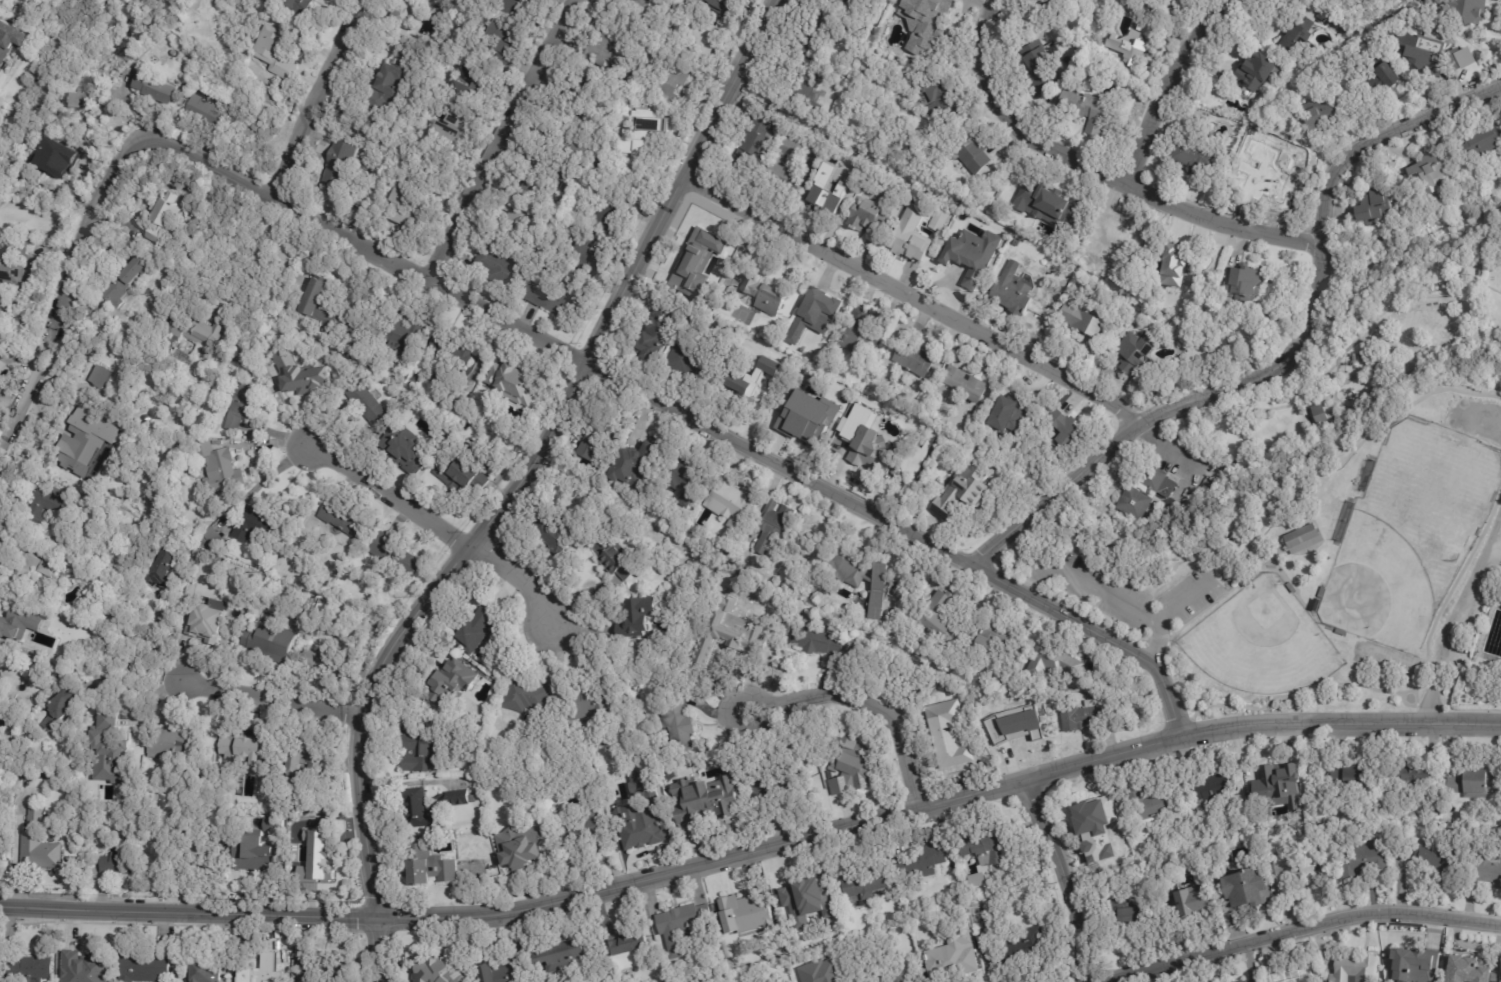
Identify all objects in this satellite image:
building: (1173, 0)
building: (850, 1)
building: (1175, 1)
building: (835, 5)
building: (300, 6)
building: (629, 6)
building: (723, 6)
building: (515, 7)
building: (1466, 11)
building: (405, 14)
building: (924, 24)
building: (866, 30)
building: (810, 35)
building: (704, 37)
building: (1297, 37)
building: (1489, 38)
building: (506, 43)
road: (751, 43)
building: (11, 44)
building: (609, 49)
building: (1127, 49)
building: (1418, 52)
building: (276, 53)
building: (128, 58)
road: (329, 65)
building: (1035, 67)
building: (1256, 71)
road: (1164, 81)
building: (389, 82)
building: (1375, 83)
building: (673, 84)
building: (586, 86)
building: (157, 90)
building: (475, 90)
building: (942, 94)
building: (804, 96)
building: (83, 104)
building: (1082, 109)
building: (209, 112)
building: (1319, 116)
building: (655, 126)
building: (461, 134)
building: (641, 134)
building: (573, 138)
building: (754, 138)
road: (503, 140)
building: (1478, 142)
building: (968, 154)
building: (1191, 157)
building: (57, 159)
road: (294, 165)
road: (1101, 167)
building: (343, 168)
building: (782, 168)
building: (1427, 171)
road: (229, 172)
building: (549, 175)
building: (1258, 180)
building: (826, 192)
building: (1048, 202)
building: (587, 203)
building: (1372, 206)
building: (419, 213)
building: (871, 215)
building: (615, 217)
building: (167, 218)
building: (938, 219)
building: (520, 220)
road: (655, 223)
building: (1116, 231)
building: (911, 236)
building: (1014, 243)
building: (18, 248)
building: (695, 249)
road: (257, 254)
building: (586, 255)
building: (959, 259)
building: (1175, 262)
building: (1476, 266)
building: (505, 271)
road: (66, 273)
building: (10, 274)
building: (1449, 279)
building: (1245, 280)
building: (127, 282)
road: (448, 289)
building: (1011, 292)
building: (762, 295)
road: (913, 297)
building: (559, 300)
building: (328, 309)
building: (820, 311)
building: (1082, 317)
building: (199, 332)
building: (657, 332)
building: (861, 333)
building: (406, 334)
building: (240, 351)
building: (456, 351)
building: (688, 353)
building: (1132, 356)
road: (1289, 356)
building: (248, 360)
building: (913, 360)
building: (762, 372)
building: (735, 374)
building: (303, 375)
building: (1, 377)
building: (100, 377)
building: (515, 384)
building: (964, 384)
building: (94, 389)
building: (369, 403)
building: (243, 406)
road: (557, 407)
building: (975, 413)
building: (1321, 414)
building: (1007, 416)
building: (802, 420)
road: (1485, 420)
building: (1189, 426)
building: (82, 431)
building: (1063, 432)
building: (589, 433)
building: (864, 448)
building: (409, 449)
building: (221, 468)
building: (631, 468)
building: (468, 476)
building: (680, 478)
building: (958, 492)
building: (1149, 492)
road: (390, 494)
building: (729, 501)
building: (44, 508)
building: (347, 520)
building: (774, 525)
building: (259, 526)
road: (902, 531)
building: (552, 533)
building: (218, 539)
building: (1302, 539)
building: (204, 541)
building: (397, 555)
building: (613, 558)
building: (36, 567)
building: (166, 569)
building: (81, 576)
road: (519, 576)
building: (861, 579)
park: (1364, 585)
building: (1291, 588)
park: (1377, 588)
road: (1101, 591)
building: (1321, 592)
building: (217, 604)
building: (1314, 605)
building: (731, 617)
building: (633, 618)
road: (1458, 618)
building: (18, 624)
building: (204, 626)
building: (478, 630)
building: (943, 630)
building: (1340, 632)
building: (272, 640)
building: (994, 641)
building: (816, 642)
park: (1261, 642)
road: (159, 645)
building: (1050, 662)
building: (326, 663)
road: (382, 663)
building: (898, 678)
building: (454, 679)
building: (1003, 685)
road: (141, 689)
building: (527, 695)
road: (271, 701)
building: (578, 703)
road: (865, 705)
building: (63, 709)
building: (106, 717)
building: (1080, 717)
building: (675, 724)
building: (1019, 727)
building: (99, 736)
building: (172, 745)
building: (942, 746)
building: (246, 748)
building: (424, 750)
building: (22, 760)
building: (307, 761)
building: (29, 764)
building: (859, 765)
building: (90, 772)
building: (1409, 775)
building: (1348, 776)
building: (1279, 779)
building: (764, 780)
building: (1474, 782)
building: (1207, 791)
building: (23, 799)
building: (459, 799)
building: (701, 800)
road: (937, 805)
building: (1146, 807)
building: (417, 809)
building: (1086, 811)
building: (1499, 819)
building: (640, 825)
building: (276, 826)
building: (579, 827)
building: (1084, 840)
building: (40, 843)
building: (985, 843)
building: (319, 850)
building: (259, 851)
building: (523, 853)
building: (88, 856)
building: (200, 856)
building: (318, 856)
building: (1363, 858)
building: (123, 859)
building: (930, 859)
building: (1435, 861)
building: (1294, 865)
building: (434, 869)
building: (1484, 870)
road: (1066, 877)
building: (868, 884)
building: (1240, 888)
building: (810, 892)
building: (1186, 901)
building: (746, 906)
road: (189, 911)
building: (1117, 913)
building: (687, 918)
road: (1299, 929)
building: (636, 943)
building: (1026, 947)
road: (380, 948)
building: (565, 954)
building: (146, 966)
building: (954, 966)
building: (329, 967)
building: (1353, 968)
building: (33, 969)
building: (505, 969)
building: (446, 970)
building: (1417, 970)
building: (1466, 970)
building: (208, 971)
building: (87, 972)
building: (1288, 975)
building: (827, 976)
building: (60, 977)
building: (903, 978)
building: (1241, 981)

